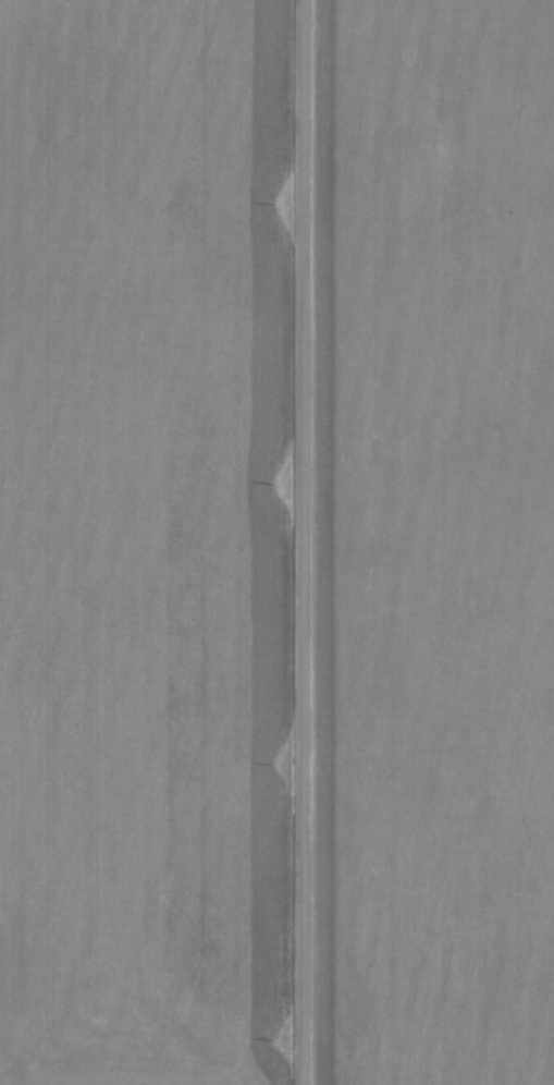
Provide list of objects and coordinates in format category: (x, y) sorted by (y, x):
crop: (143, 538)
crop: (436, 538)
road: (301, 541)

